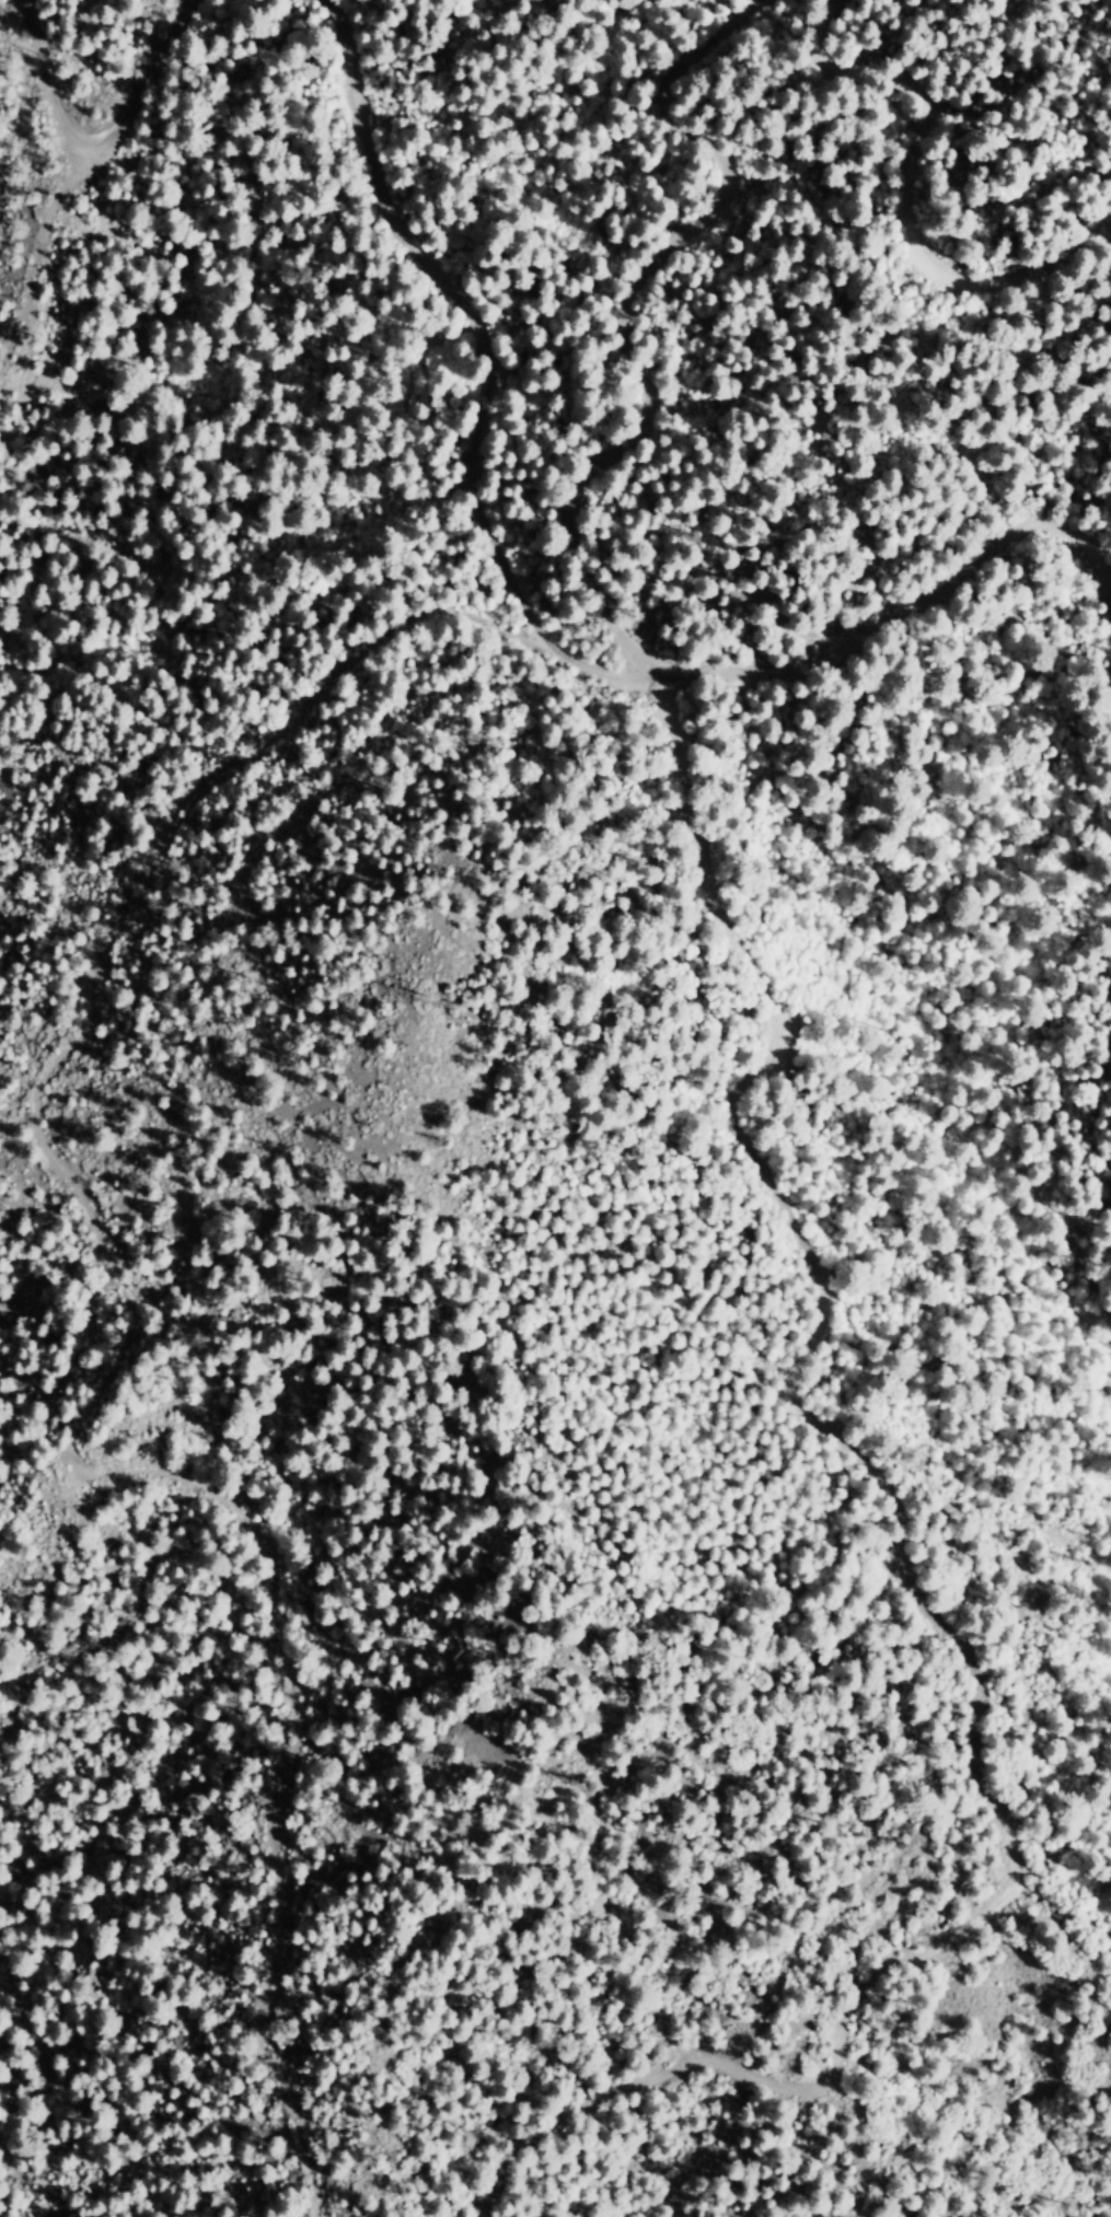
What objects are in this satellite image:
road: (92, 141)
road: (924, 201)
road: (575, 539)
road: (784, 1205)

